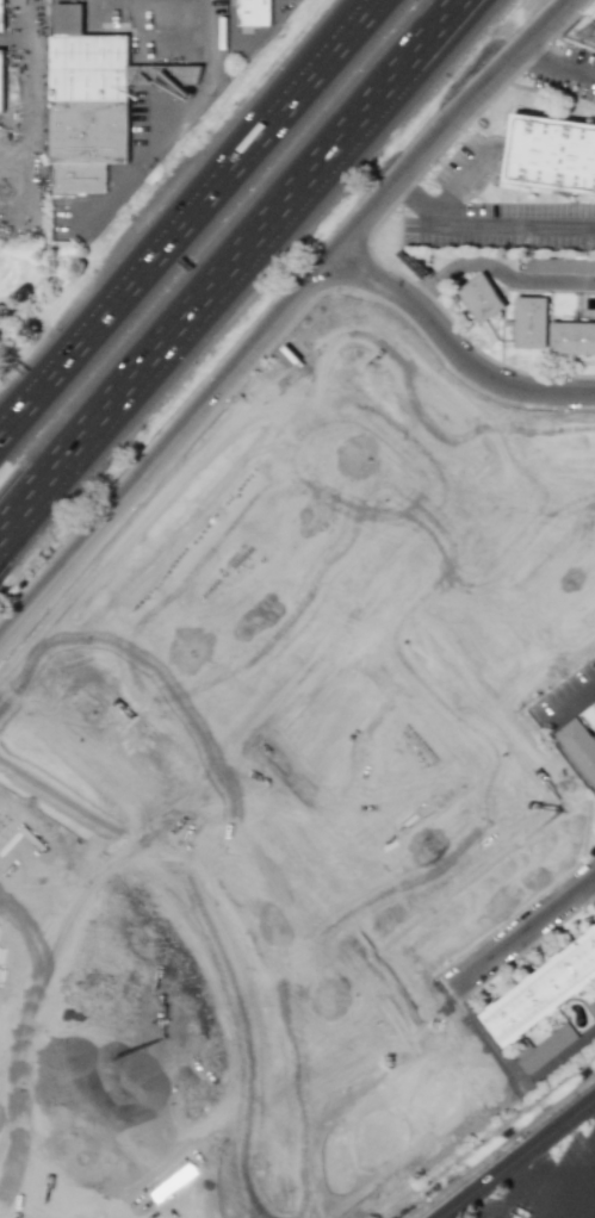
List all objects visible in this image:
building: (253, 13)
building: (1, 15)
road: (209, 37)
road: (533, 46)
road: (569, 63)
building: (1, 81)
building: (94, 98)
road: (19, 106)
building: (551, 153)
road: (240, 166)
road: (459, 182)
road: (402, 193)
road: (497, 230)
building: (558, 265)
road: (228, 268)
road: (531, 280)
building: (479, 298)
road: (280, 312)
building: (529, 322)
building: (571, 337)
road: (451, 350)
road: (51, 377)
road: (51, 391)
road: (244, 435)
road: (476, 477)
road: (496, 572)
road: (478, 694)
building: (589, 716)
road: (545, 726)
road: (137, 729)
building: (578, 746)
road: (203, 787)
road: (64, 803)
road: (155, 837)
road: (519, 841)
road: (315, 877)
road: (593, 887)
road: (237, 970)
building: (543, 990)
road: (446, 994)
road: (478, 1044)
building: (531, 1058)
road: (254, 1114)
road: (471, 1124)
road: (519, 1160)
road: (279, 1176)
road: (569, 1177)
road: (517, 1180)
parking lot: (552, 1185)
road: (593, 1214)

